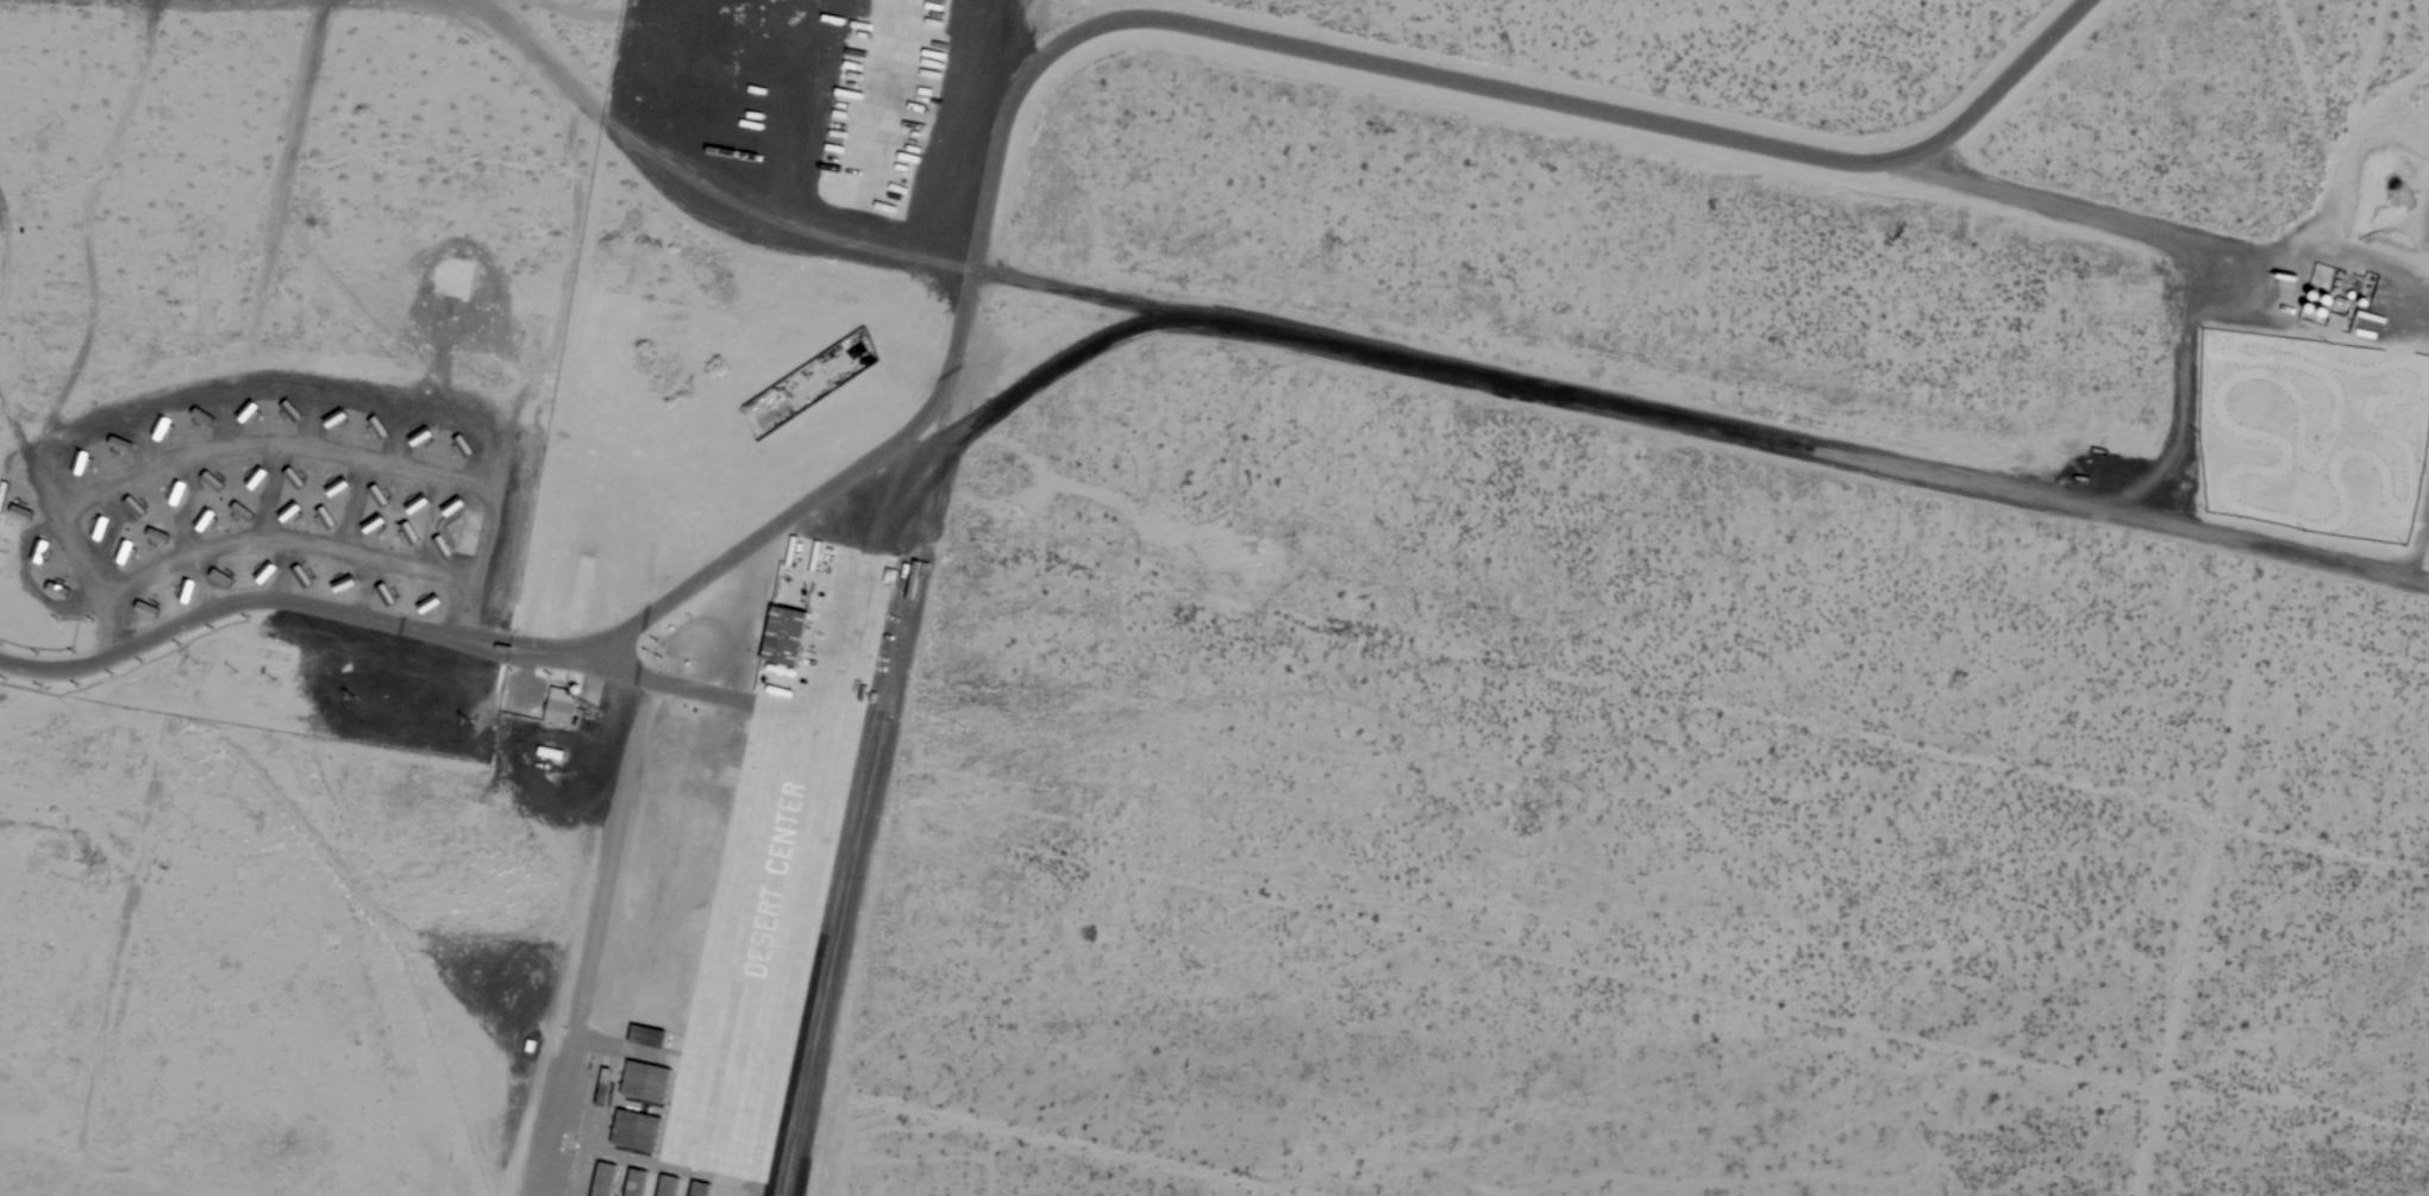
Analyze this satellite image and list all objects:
road: (1198, 25)
road: (204, 612)
road: (464, 633)
building: (785, 637)
road: (461, 645)
road: (549, 646)
road: (549, 660)
road: (520, 684)
road: (674, 684)
parking lot: (522, 691)
airport terminal: (562, 706)
building: (562, 706)
airport taxiway: (871, 732)
airport apron: (778, 857)
airport taxiway: (851, 870)
airport: (681, 888)
road: (601, 938)
building: (658, 1037)
building: (653, 1083)
building: (644, 1134)

